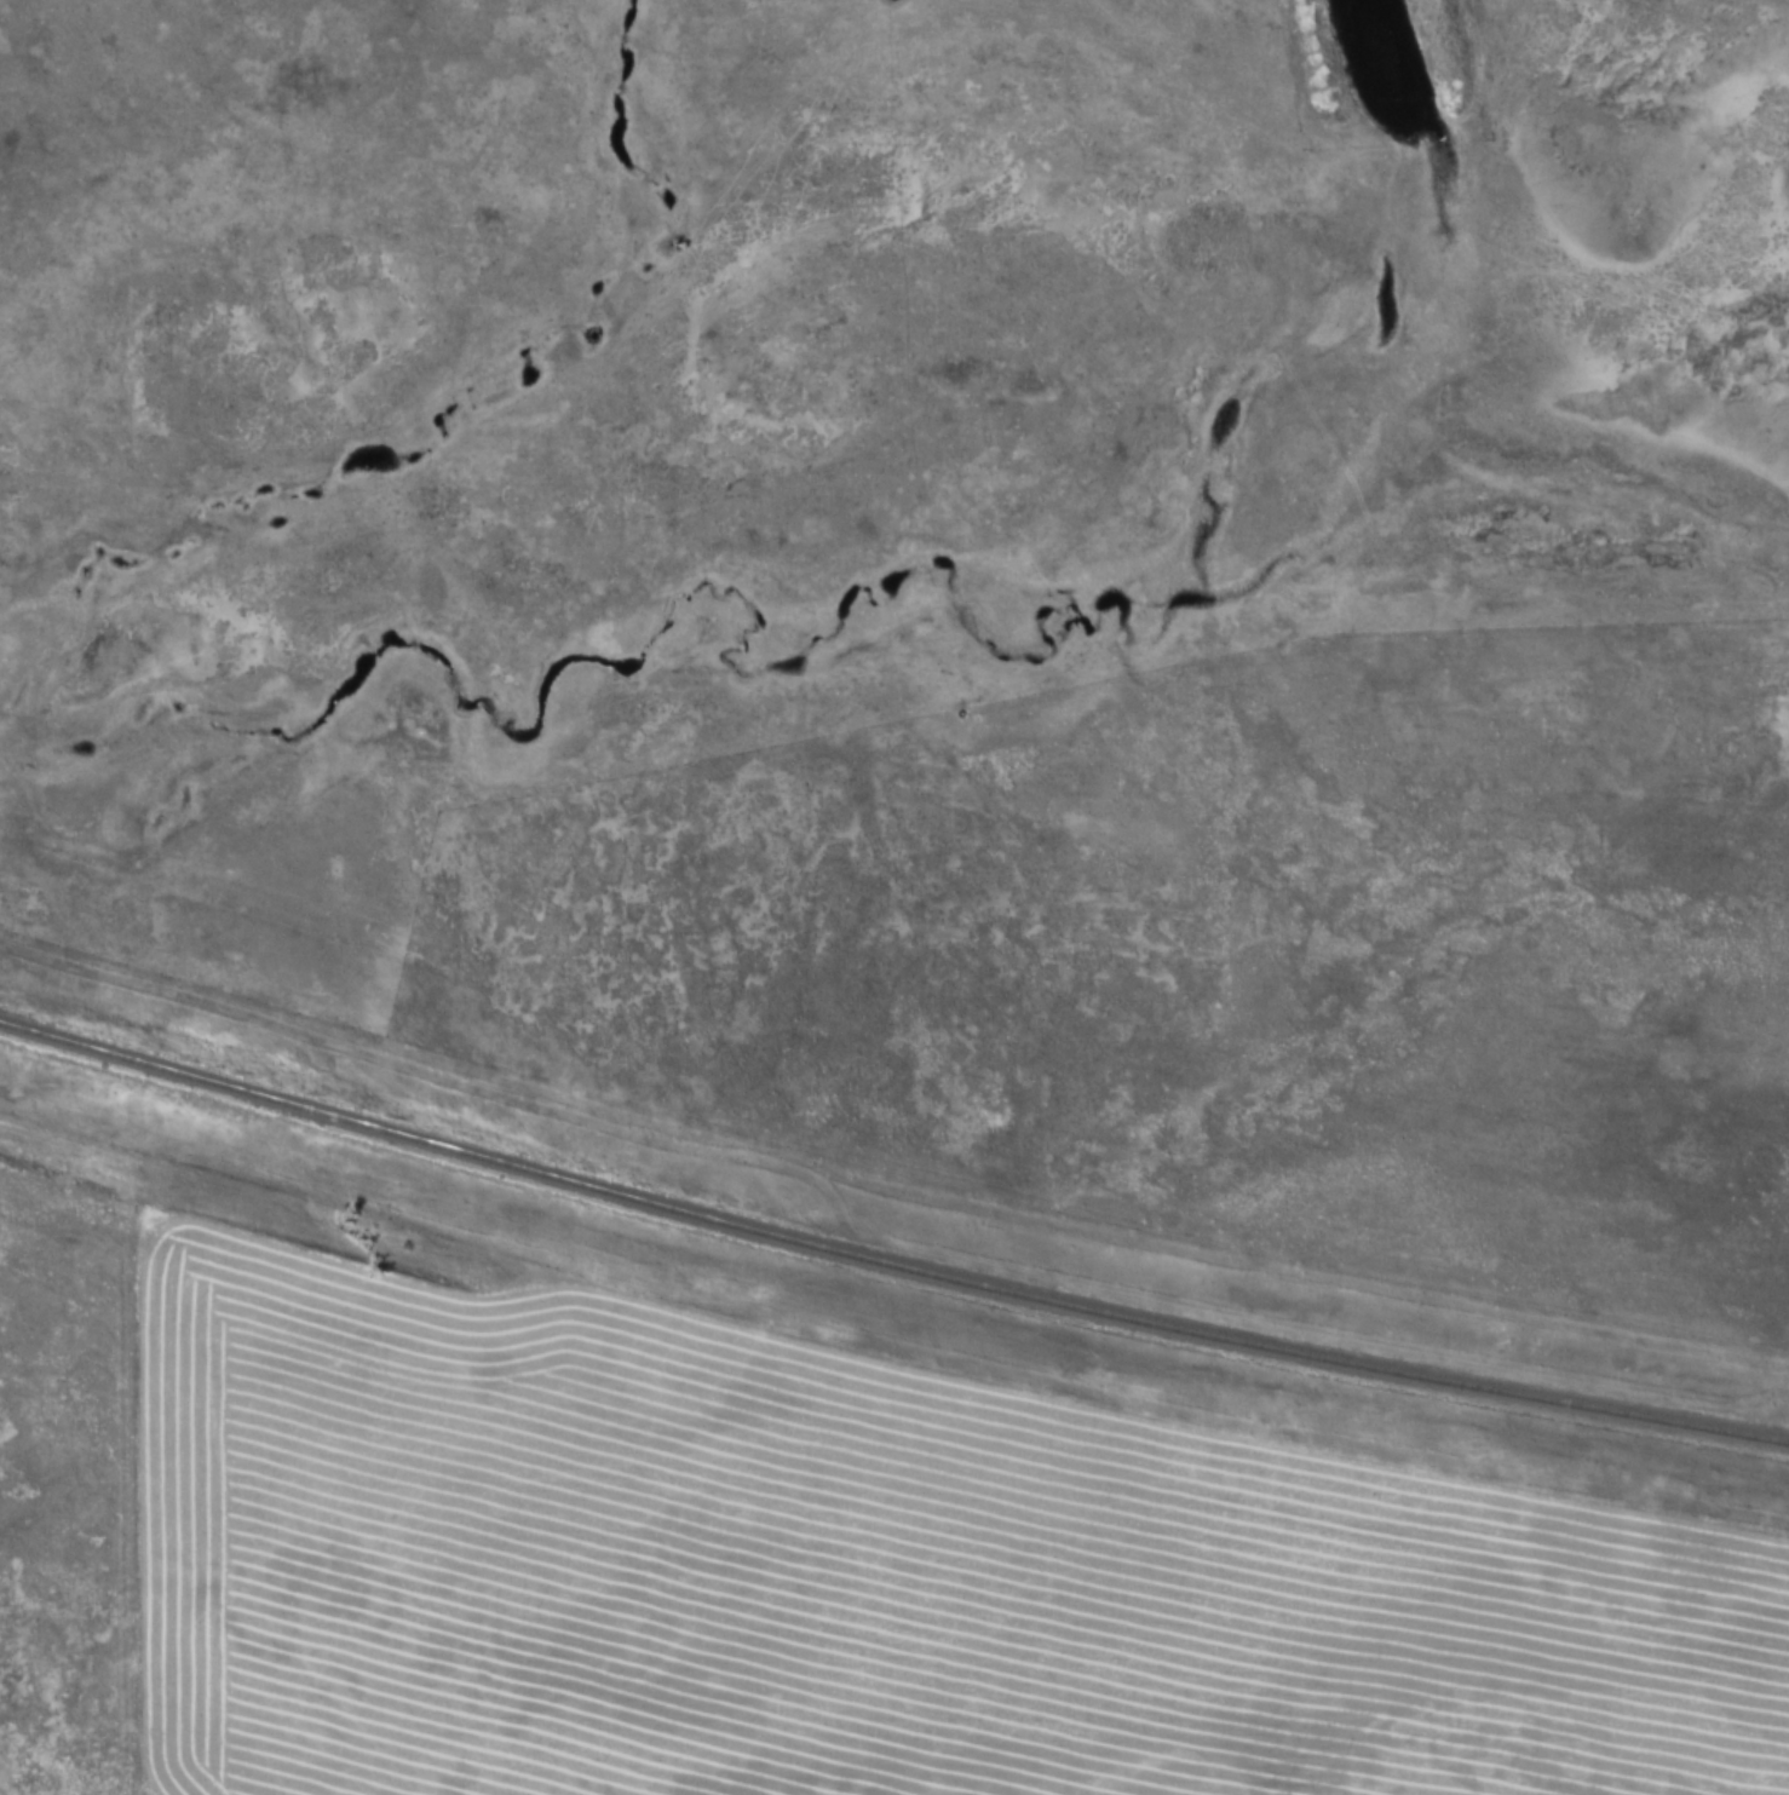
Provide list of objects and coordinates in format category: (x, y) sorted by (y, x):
railway: (888, 1258)

